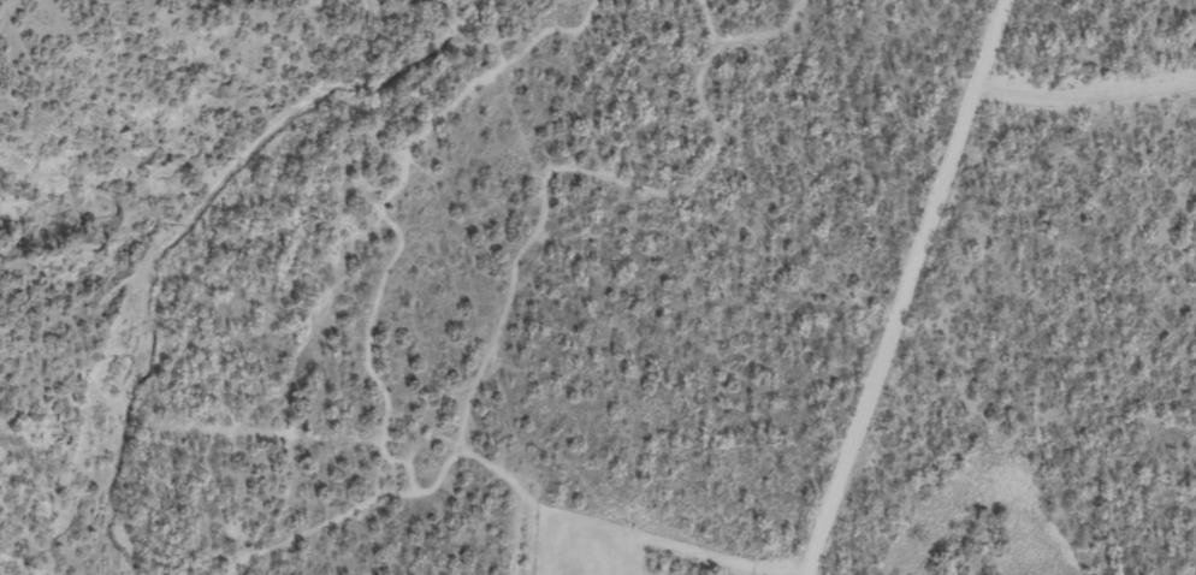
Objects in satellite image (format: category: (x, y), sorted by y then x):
road: (910, 287)

